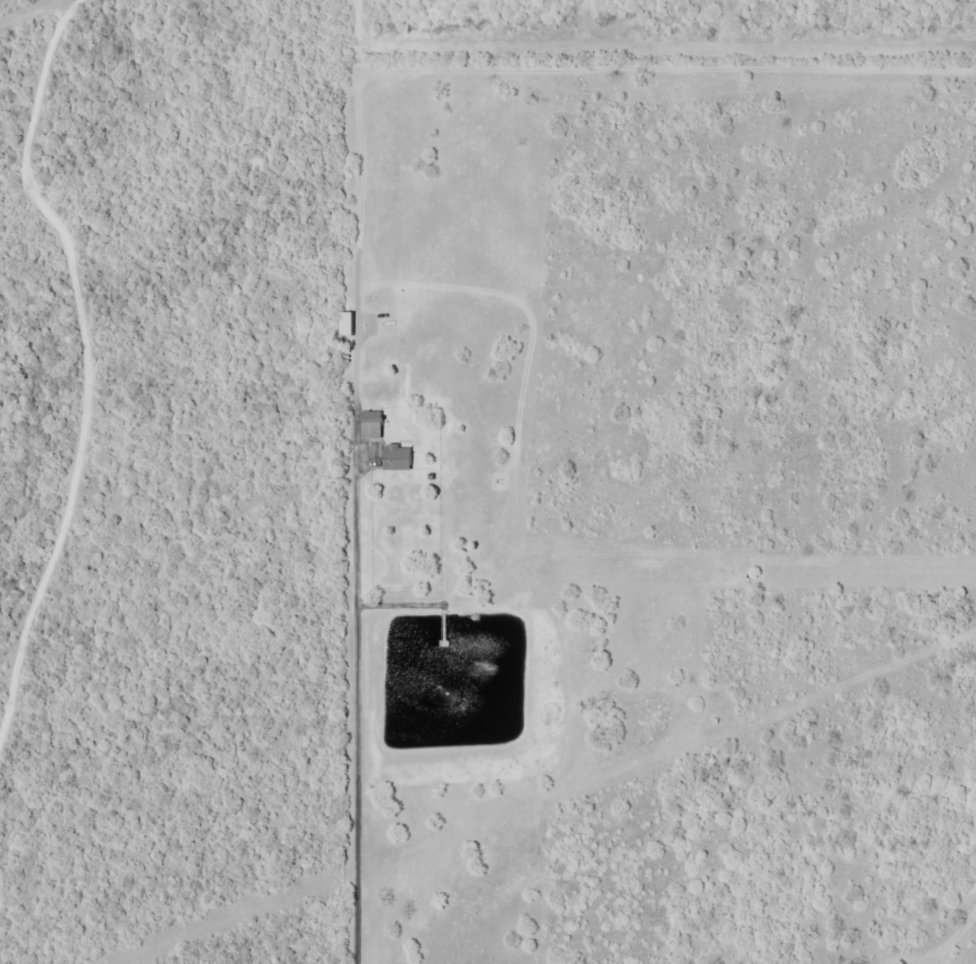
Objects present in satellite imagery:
road: (84, 370)
building: (371, 424)
building: (397, 456)

